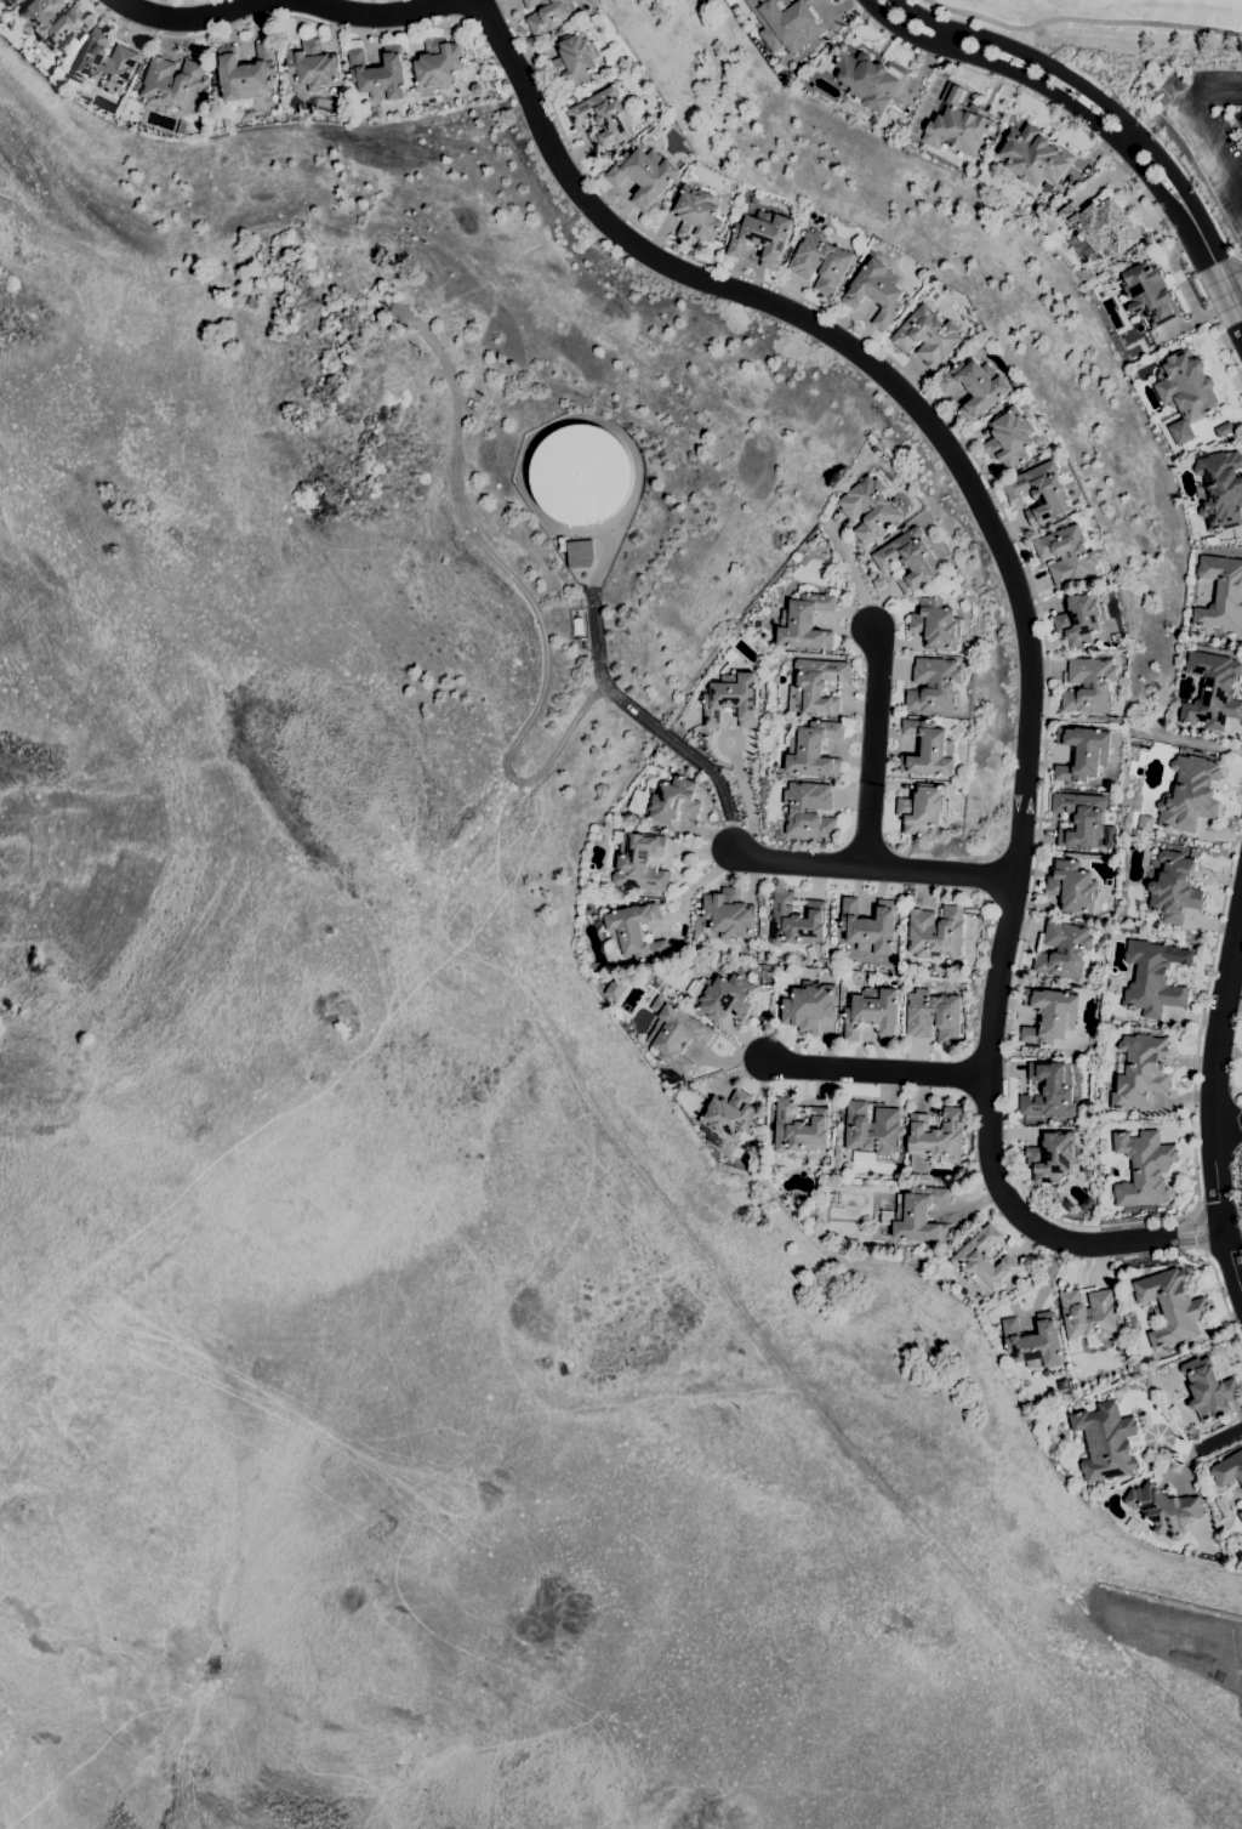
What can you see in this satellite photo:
building: (7, 1)
road: (371, 12)
road: (285, 15)
building: (549, 15)
road: (1086, 18)
park: (1101, 19)
road: (192, 21)
building: (12, 22)
building: (49, 22)
building: (788, 23)
road: (946, 36)
building: (575, 58)
building: (103, 63)
building: (438, 64)
building: (313, 66)
building: (244, 74)
building: (380, 74)
building: (870, 79)
building: (171, 85)
building: (477, 89)
road: (1221, 92)
road: (1039, 97)
road: (1098, 98)
road: (1072, 106)
building: (603, 117)
building: (958, 124)
building: (182, 127)
road: (1127, 137)
road: (1213, 144)
building: (1033, 155)
building: (644, 175)
building: (695, 215)
building: (1103, 225)
building: (762, 237)
building: (821, 261)
road: (1234, 276)
building: (876, 291)
building: (1149, 295)
road: (1234, 297)
road: (1238, 299)
road: (1213, 314)
building: (928, 335)
building: (975, 387)
building: (1186, 392)
building: (1224, 430)
building: (1009, 438)
building: (580, 473)
building: (1221, 489)
building: (1041, 492)
building: (868, 509)
building: (562, 544)
building: (580, 553)
building: (1066, 555)
building: (908, 558)
road: (848, 569)
road: (1029, 578)
building: (1221, 592)
road: (1018, 597)
building: (1081, 618)
road: (541, 619)
building: (805, 623)
building: (936, 624)
building: (576, 626)
building: (1116, 638)
building: (729, 655)
building: (1089, 685)
building: (815, 686)
building: (934, 686)
building: (1212, 691)
building: (733, 699)
road: (649, 722)
road: (1144, 728)
road: (874, 743)
building: (811, 749)
building: (928, 750)
building: (1083, 752)
building: (1189, 795)
building: (672, 802)
road: (747, 802)
building: (924, 807)
building: (809, 810)
building: (1081, 819)
building: (1146, 819)
building: (1109, 836)
building: (639, 862)
road: (873, 865)
road: (696, 882)
building: (1072, 886)
building: (1173, 888)
building: (727, 916)
building: (796, 921)
building: (870, 926)
building: (634, 931)
building: (935, 932)
building: (1062, 950)
building: (750, 955)
building: (947, 962)
building: (1153, 978)
building: (615, 987)
building: (725, 999)
building: (808, 1006)
road: (1206, 1006)
building: (873, 1013)
building: (1050, 1013)
building: (933, 1016)
building: (674, 1034)
road: (876, 1069)
building: (1140, 1072)
building: (1049, 1090)
road: (1212, 1101)
building: (728, 1117)
road: (1226, 1126)
building: (799, 1129)
building: (872, 1129)
building: (934, 1140)
building: (862, 1157)
building: (1053, 1157)
building: (1144, 1168)
building: (917, 1215)
road: (1202, 1227)
building: (982, 1260)
road: (1223, 1299)
building: (1172, 1306)
building: (1088, 1317)
building: (1035, 1342)
building: (1208, 1388)
road: (1220, 1437)
building: (1106, 1442)
building: (1229, 1470)
building: (1164, 1509)
building: (1223, 1510)
building: (1241, 1513)

